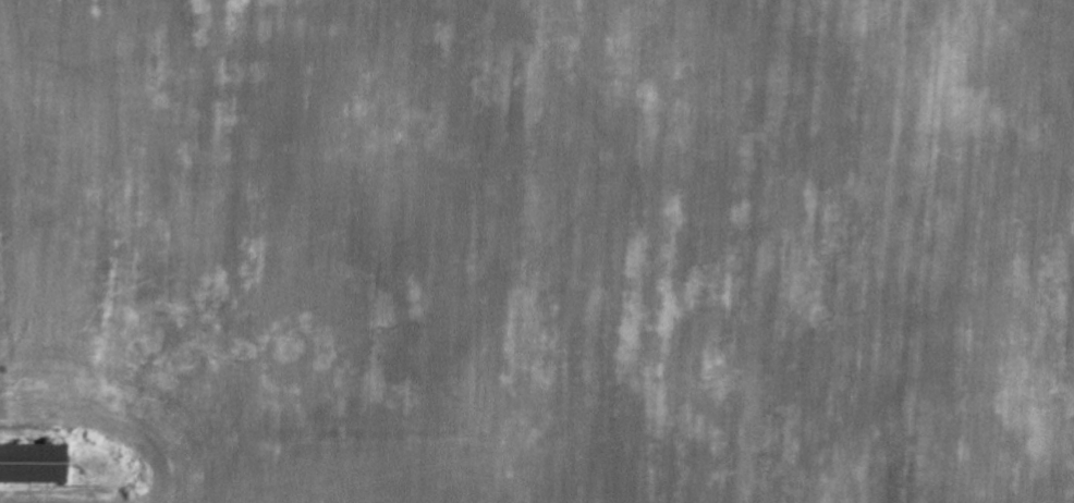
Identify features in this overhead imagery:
building: (32, 463)

